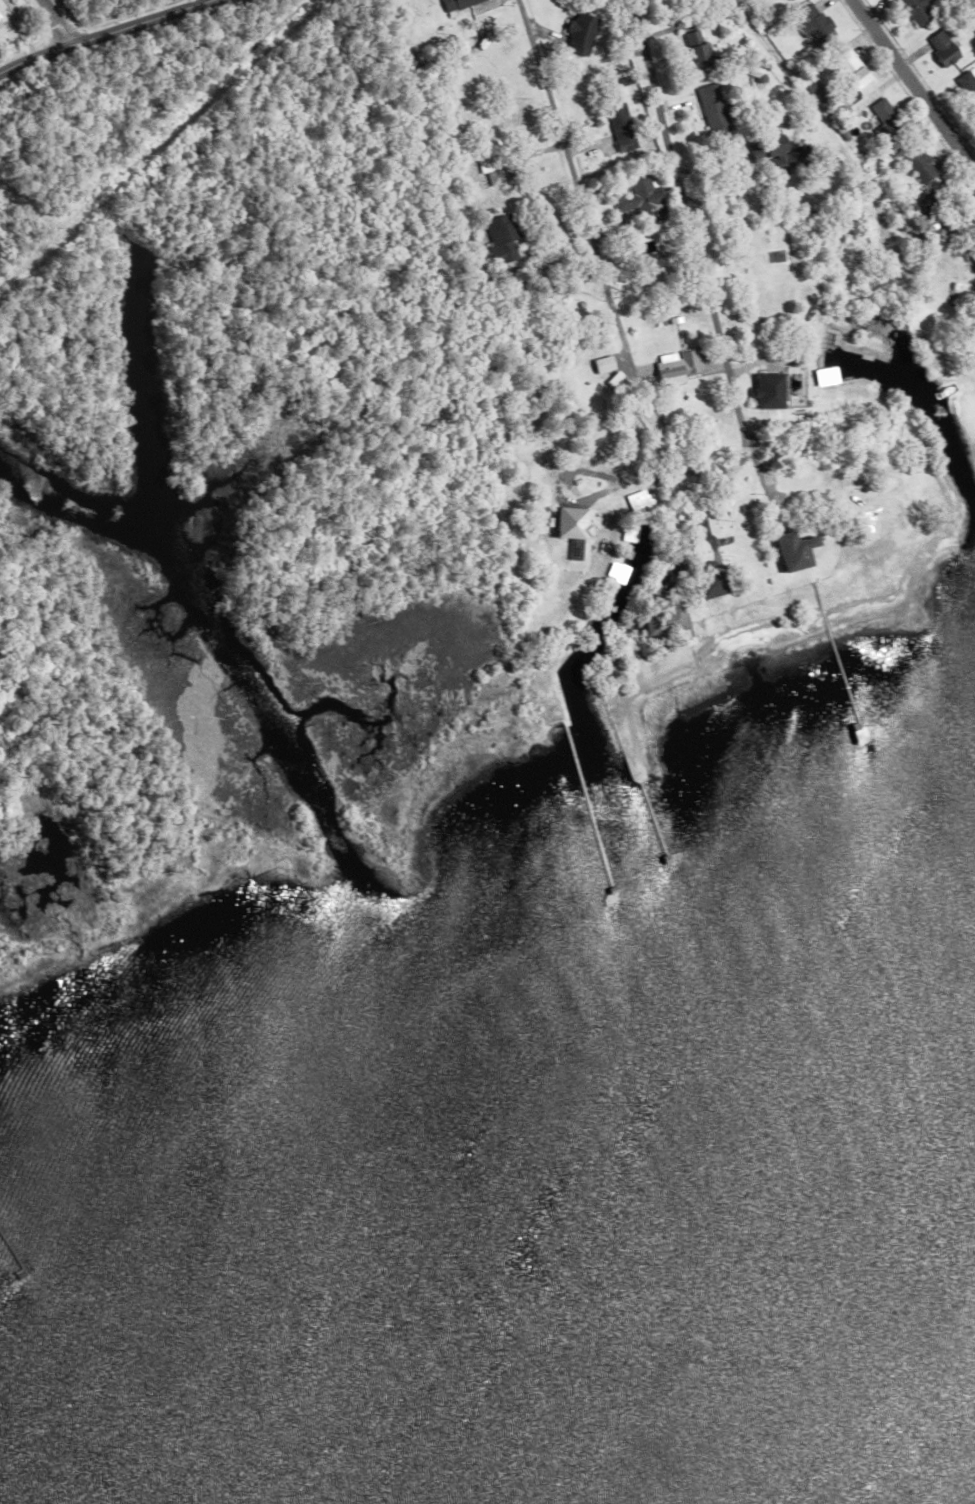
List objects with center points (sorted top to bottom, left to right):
building: (788, 0)
building: (451, 3)
building: (0, 6)
building: (915, 10)
park: (49, 16)
road: (56, 23)
building: (812, 23)
building: (577, 30)
road: (105, 35)
building: (433, 38)
building: (938, 46)
building: (693, 49)
building: (847, 67)
building: (622, 79)
building: (965, 85)
road: (913, 86)
building: (816, 92)
building: (710, 109)
road: (816, 117)
building: (881, 118)
building: (836, 122)
building: (616, 123)
building: (487, 150)
building: (775, 151)
building: (856, 153)
building: (912, 158)
building: (734, 161)
building: (635, 165)
building: (449, 181)
building: (454, 196)
building: (638, 198)
building: (935, 209)
road: (583, 212)
building: (900, 212)
road: (686, 215)
building: (498, 236)
building: (452, 245)
building: (673, 317)
building: (673, 367)
building: (824, 376)
building: (612, 380)
building: (766, 391)
road: (705, 477)
building: (732, 492)
building: (641, 502)
building: (716, 511)
building: (569, 524)
road: (691, 532)
building: (791, 551)
building: (743, 559)
building: (706, 584)
building: (616, 617)
building: (658, 622)

